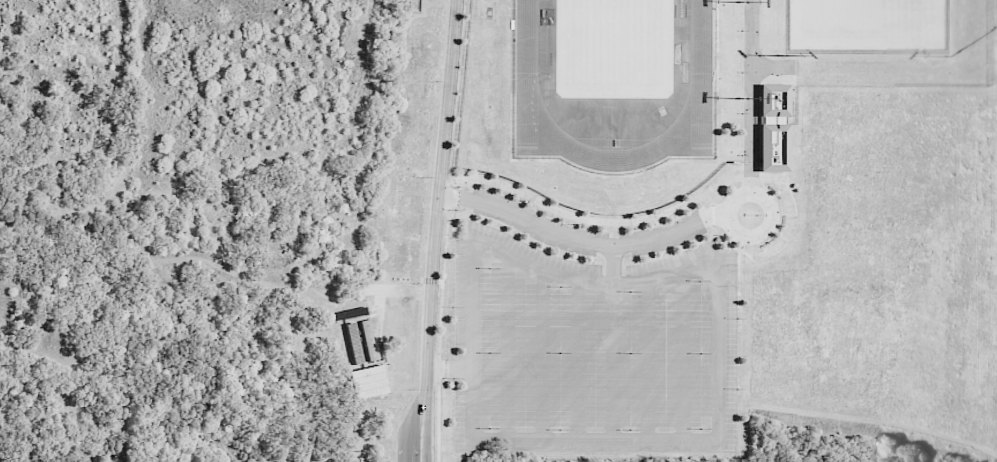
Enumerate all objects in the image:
park: (867, 23)
park: (614, 48)
road: (751, 96)
track: (614, 98)
building: (773, 126)
road: (751, 193)
road: (438, 195)
road: (582, 241)
road: (703, 268)
building: (357, 334)
road: (613, 341)
road: (507, 346)
road: (543, 354)
road: (683, 354)
road: (577, 359)
road: (647, 359)
road: (450, 369)
building: (367, 381)
road: (438, 415)
road: (422, 426)
road: (419, 460)

